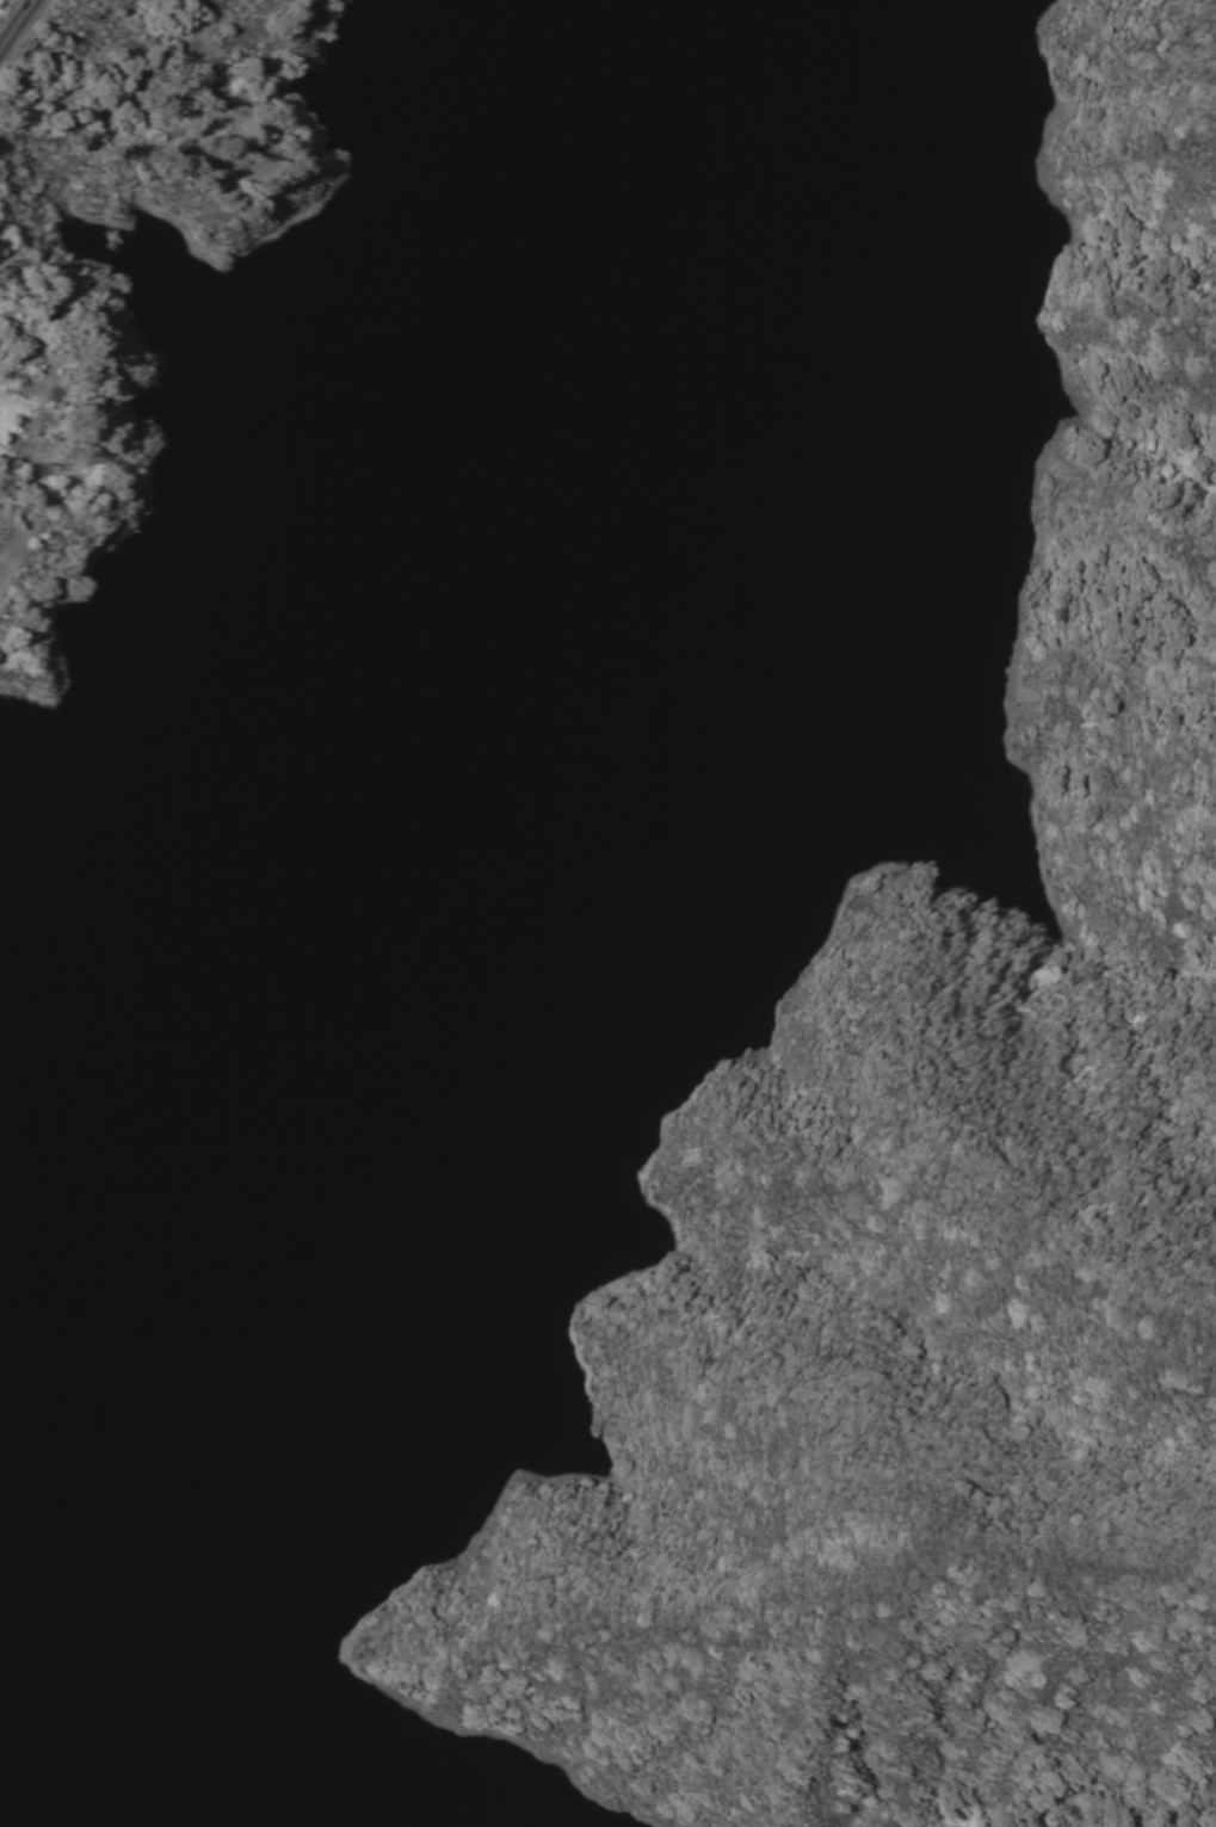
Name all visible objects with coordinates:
road: (14, 20)
river: (413, 469)
river: (592, 851)

